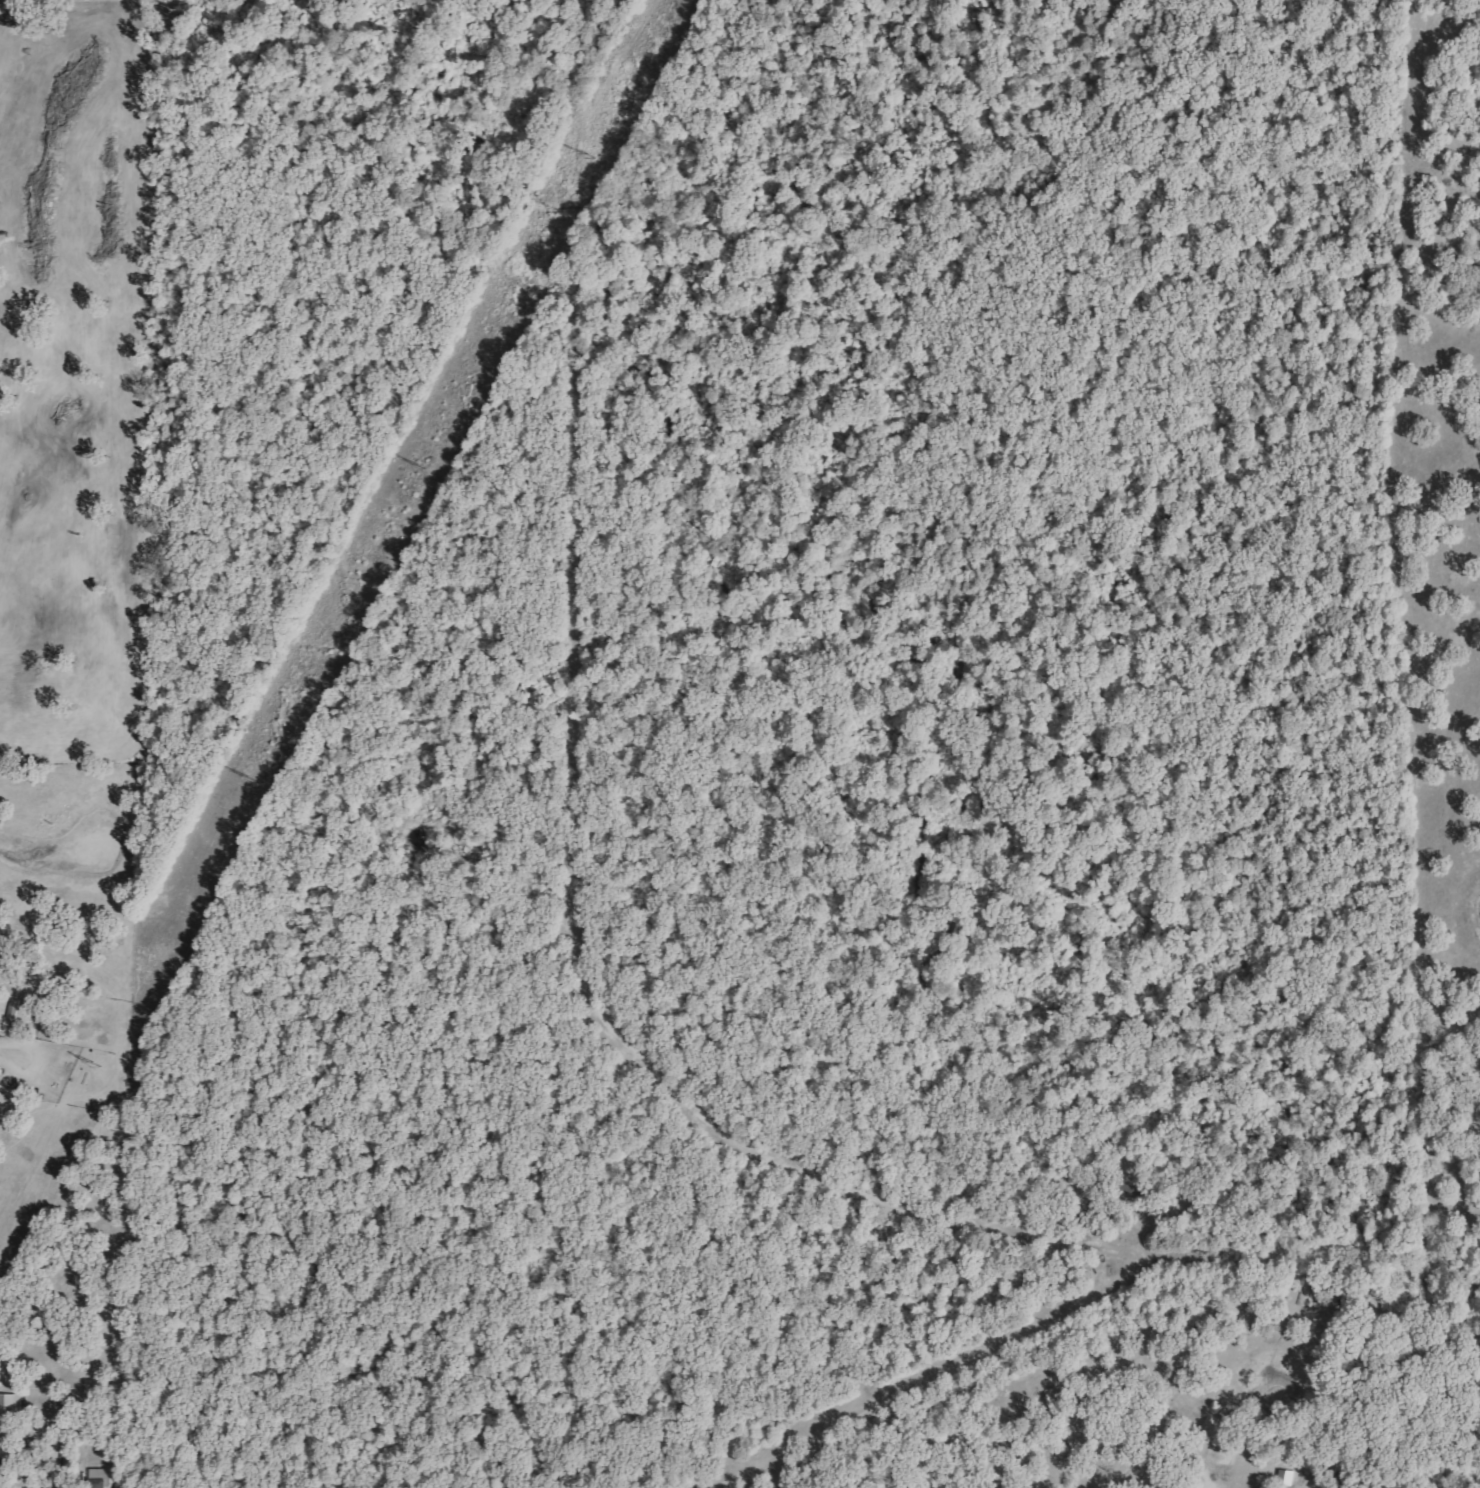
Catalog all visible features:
power tower: (584, 155)
power tower: (417, 466)
power tower: (245, 779)
power tower: (97, 1064)
road: (947, 1377)
building: (11, 1404)
building: (1287, 1477)
building: (100, 1478)

